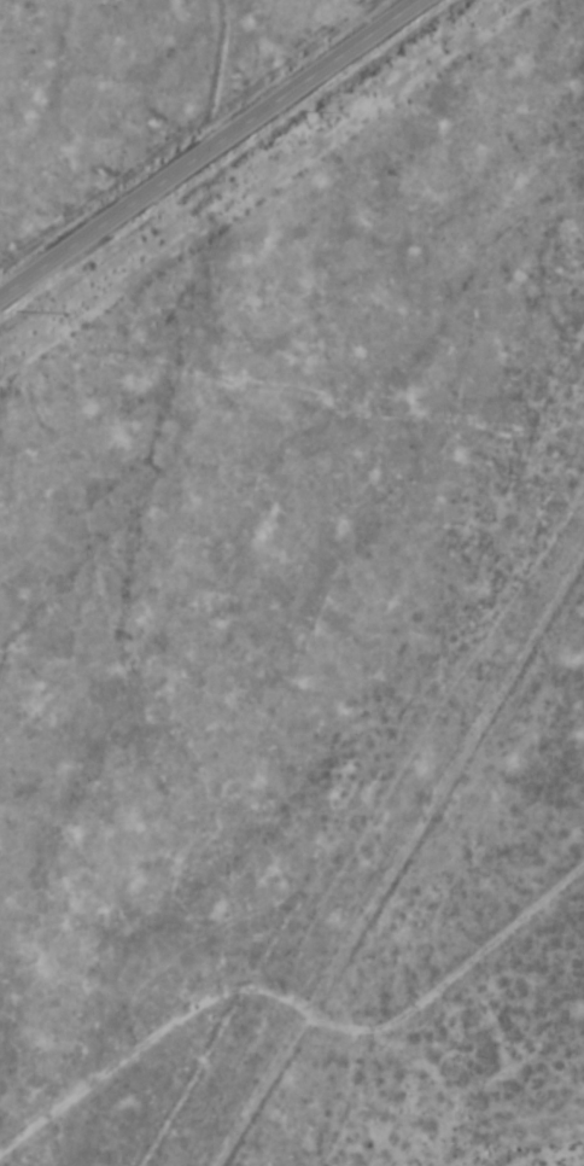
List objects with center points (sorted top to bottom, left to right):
road: (214, 146)
road: (292, 1008)

